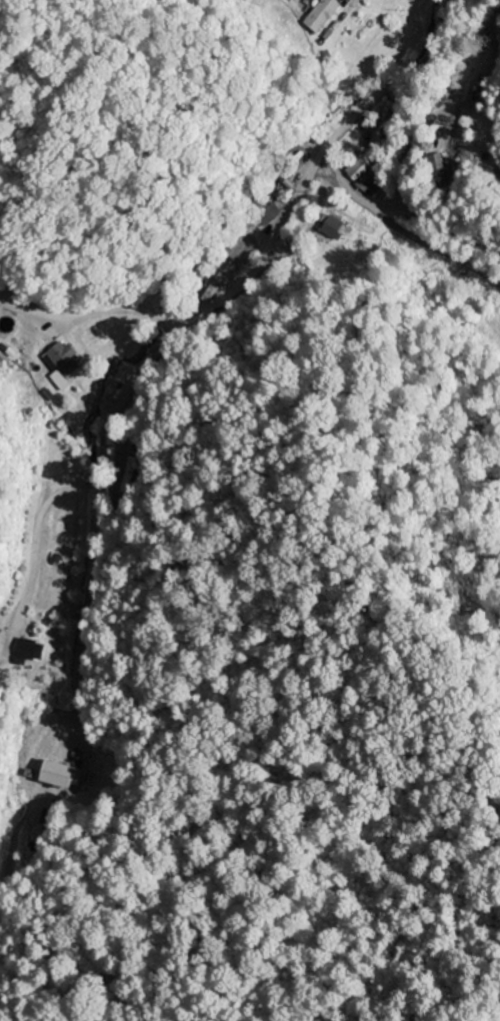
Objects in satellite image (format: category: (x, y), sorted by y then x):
building: (319, 15)
building: (382, 123)
building: (360, 168)
building: (438, 168)
building: (331, 229)
road: (402, 231)
road: (191, 316)
building: (59, 365)
road: (140, 409)
building: (28, 651)
building: (58, 776)

